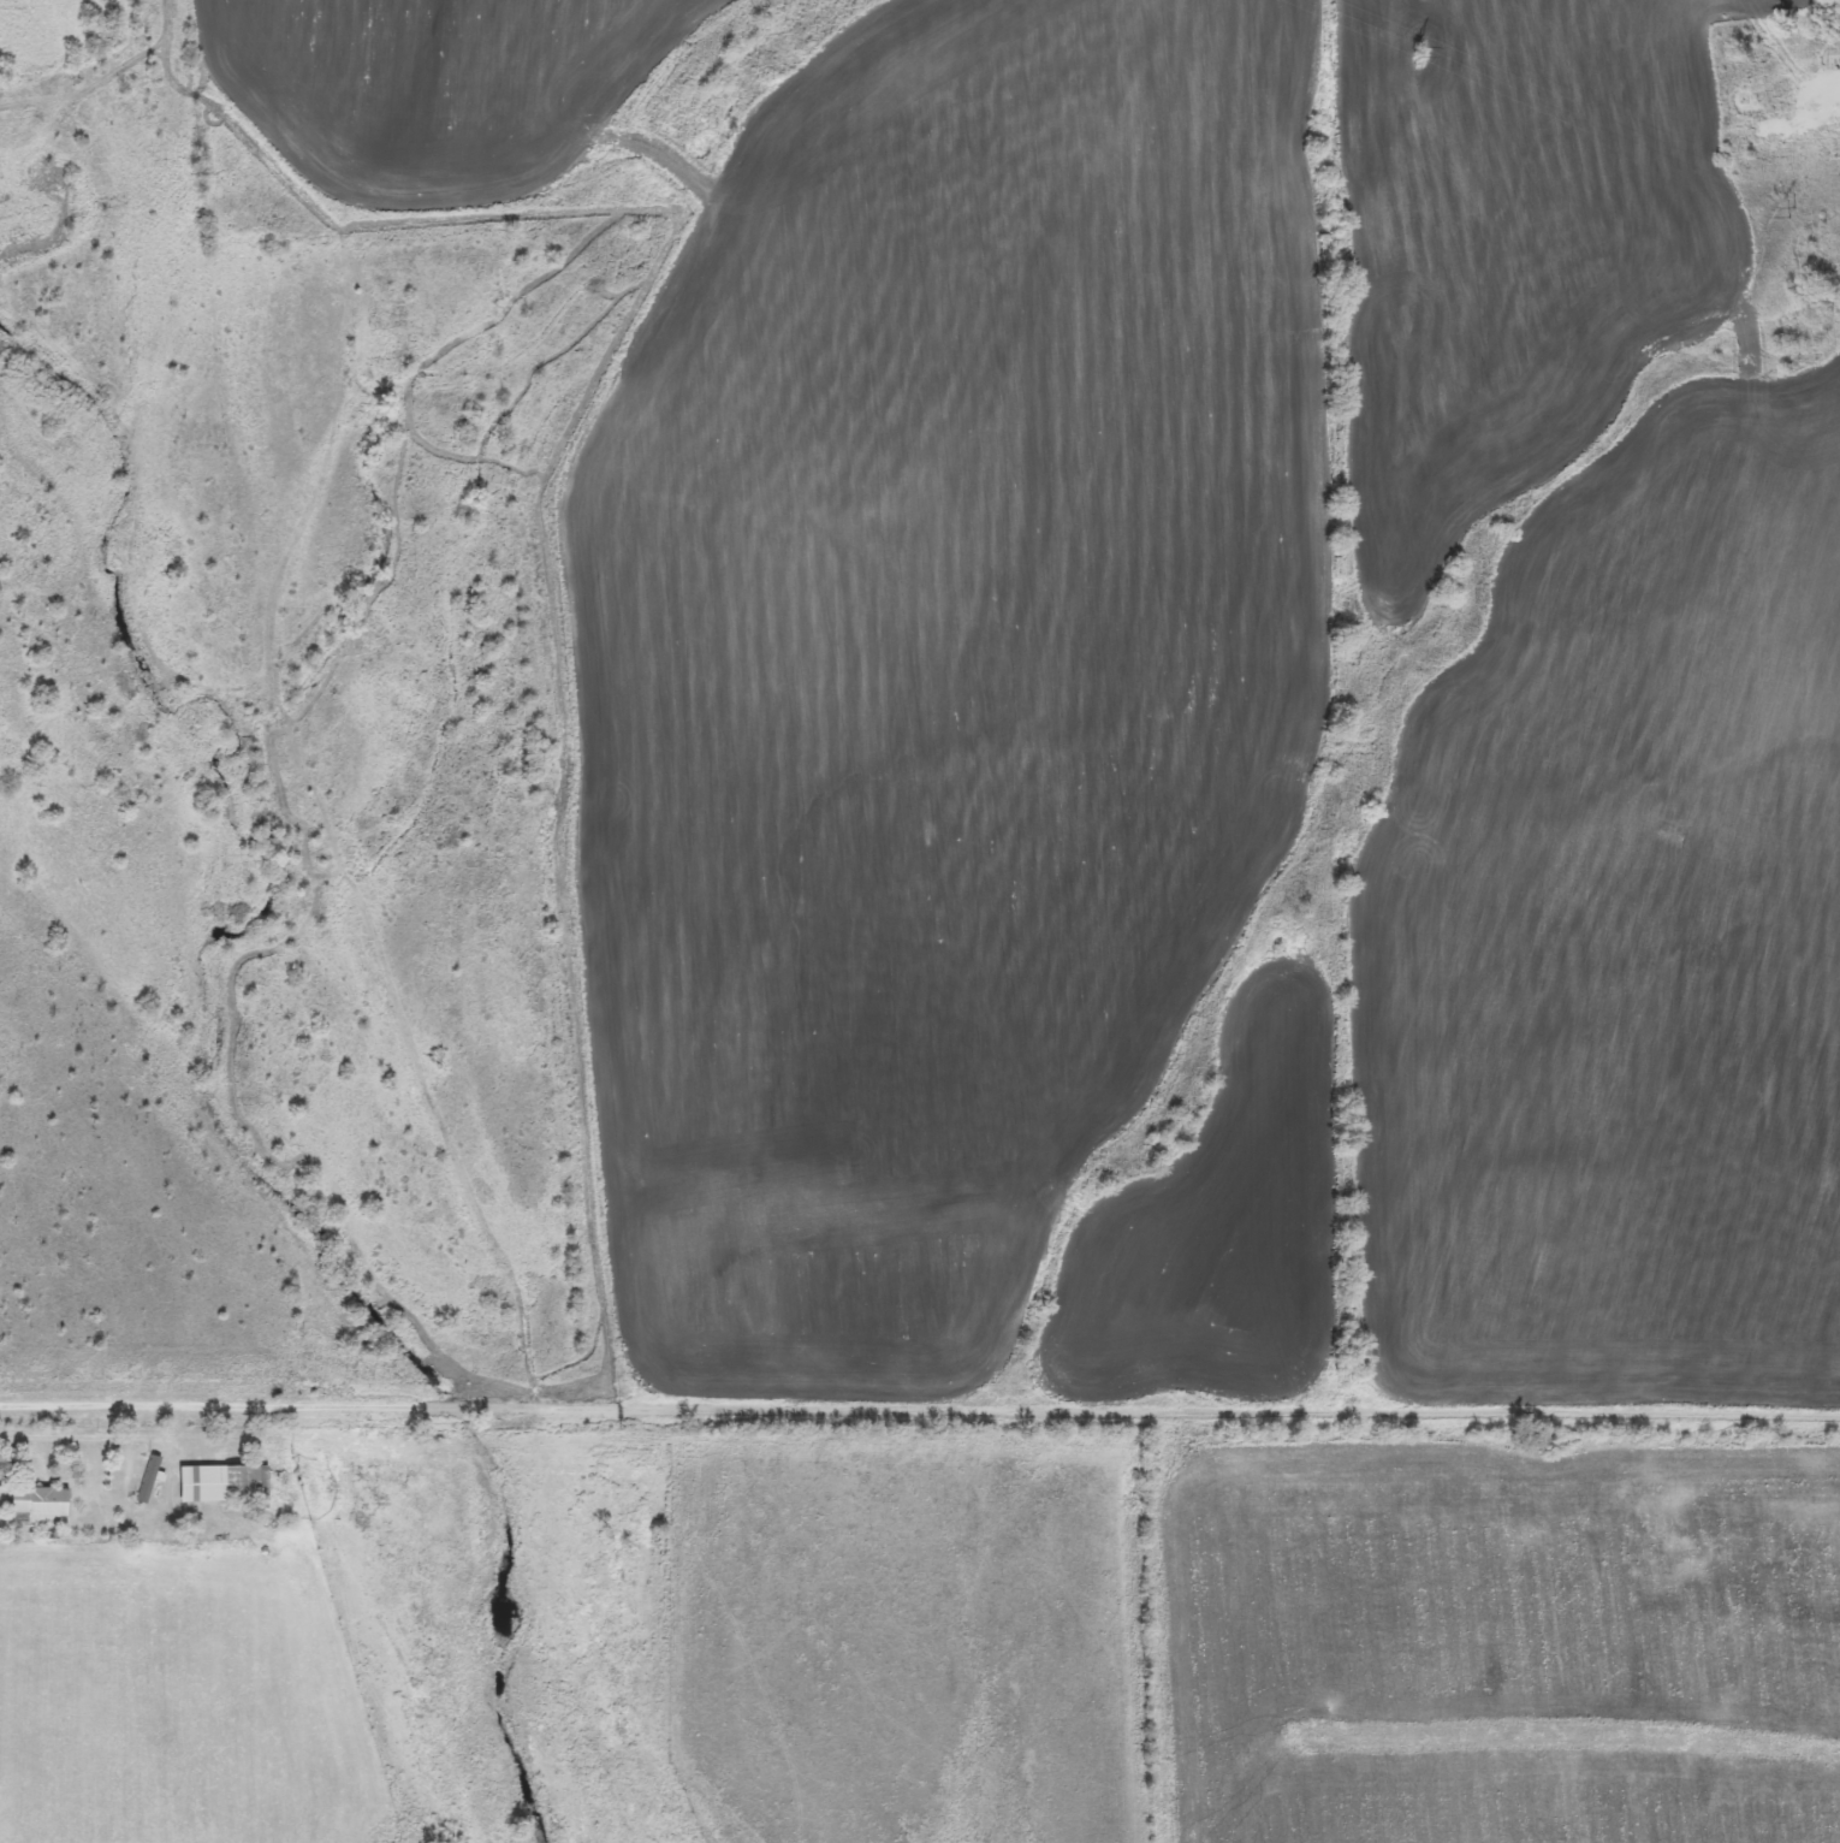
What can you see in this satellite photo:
road: (93, 1404)
road: (1014, 1406)
road: (89, 1435)
building: (150, 1478)
building: (227, 1483)
building: (44, 1505)

